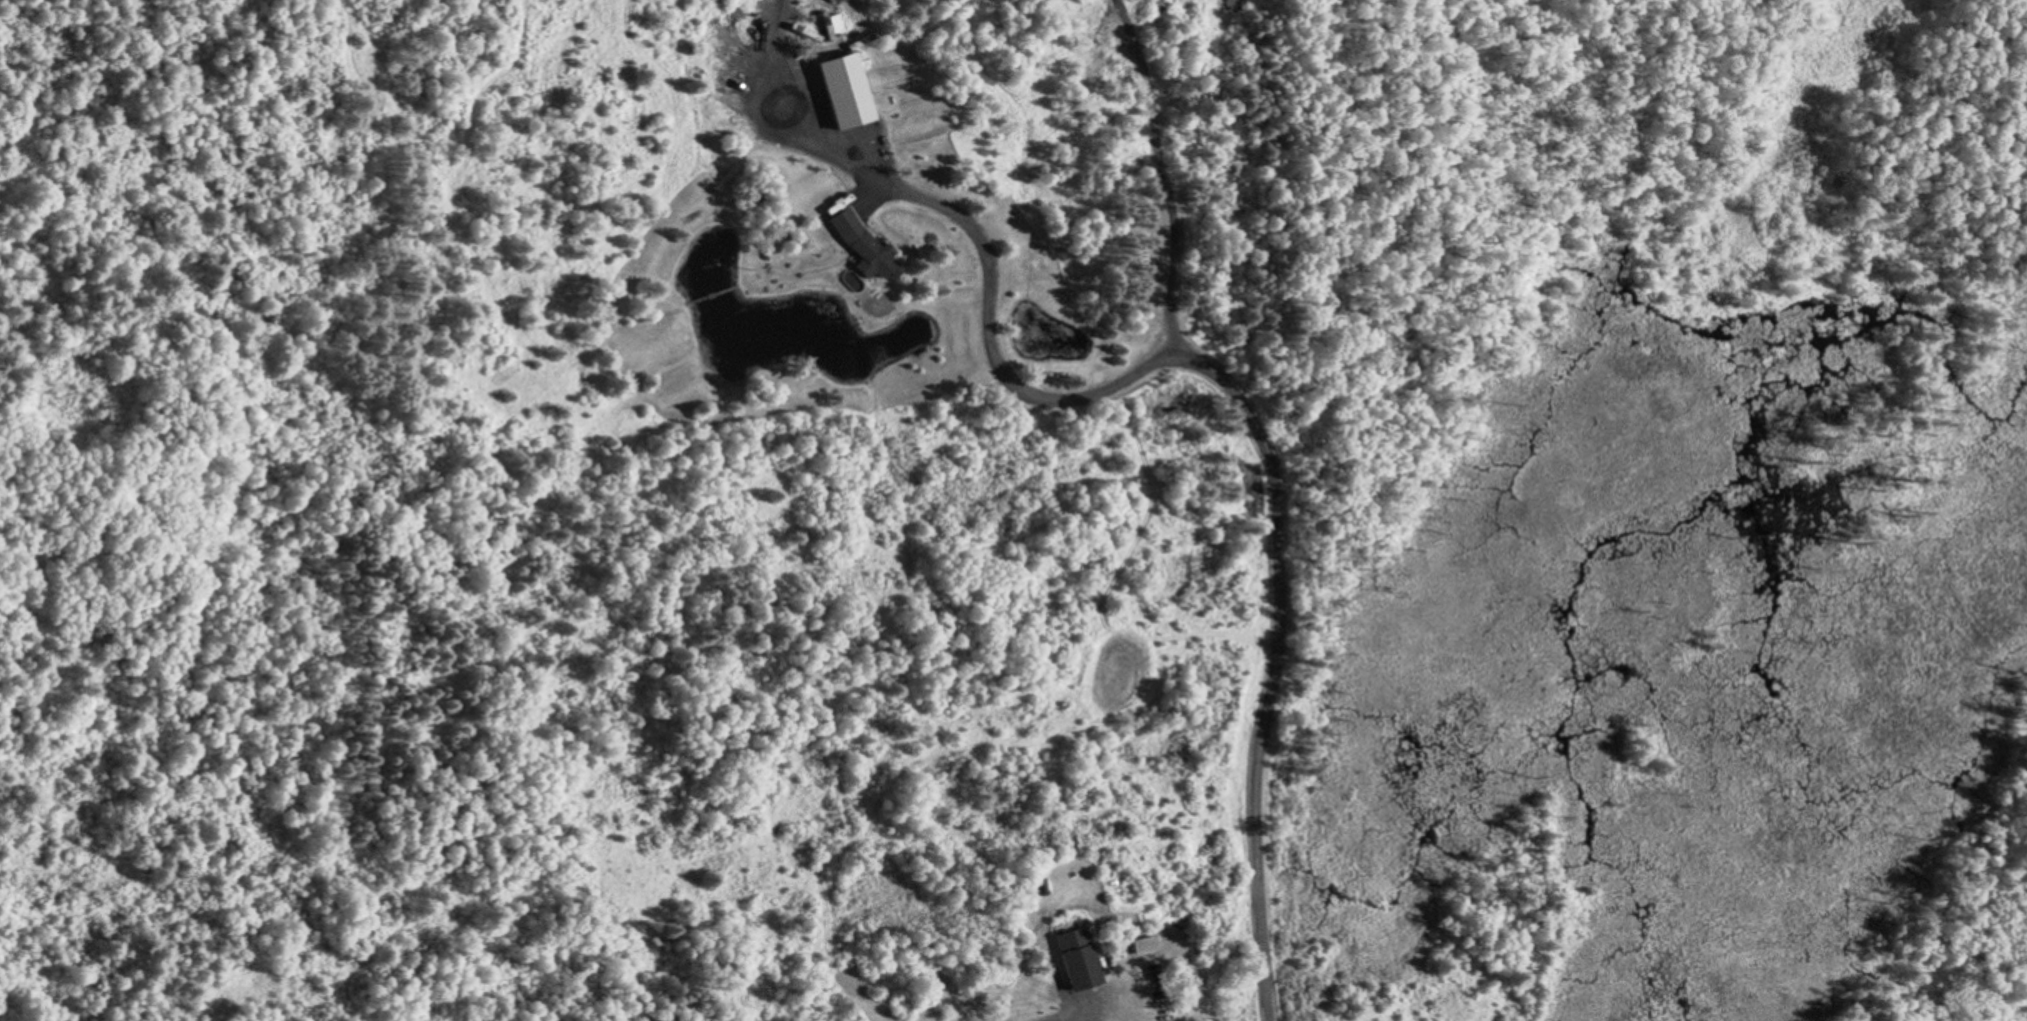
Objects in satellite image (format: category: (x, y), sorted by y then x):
building: (845, 89)
building: (862, 242)
building: (1077, 958)

